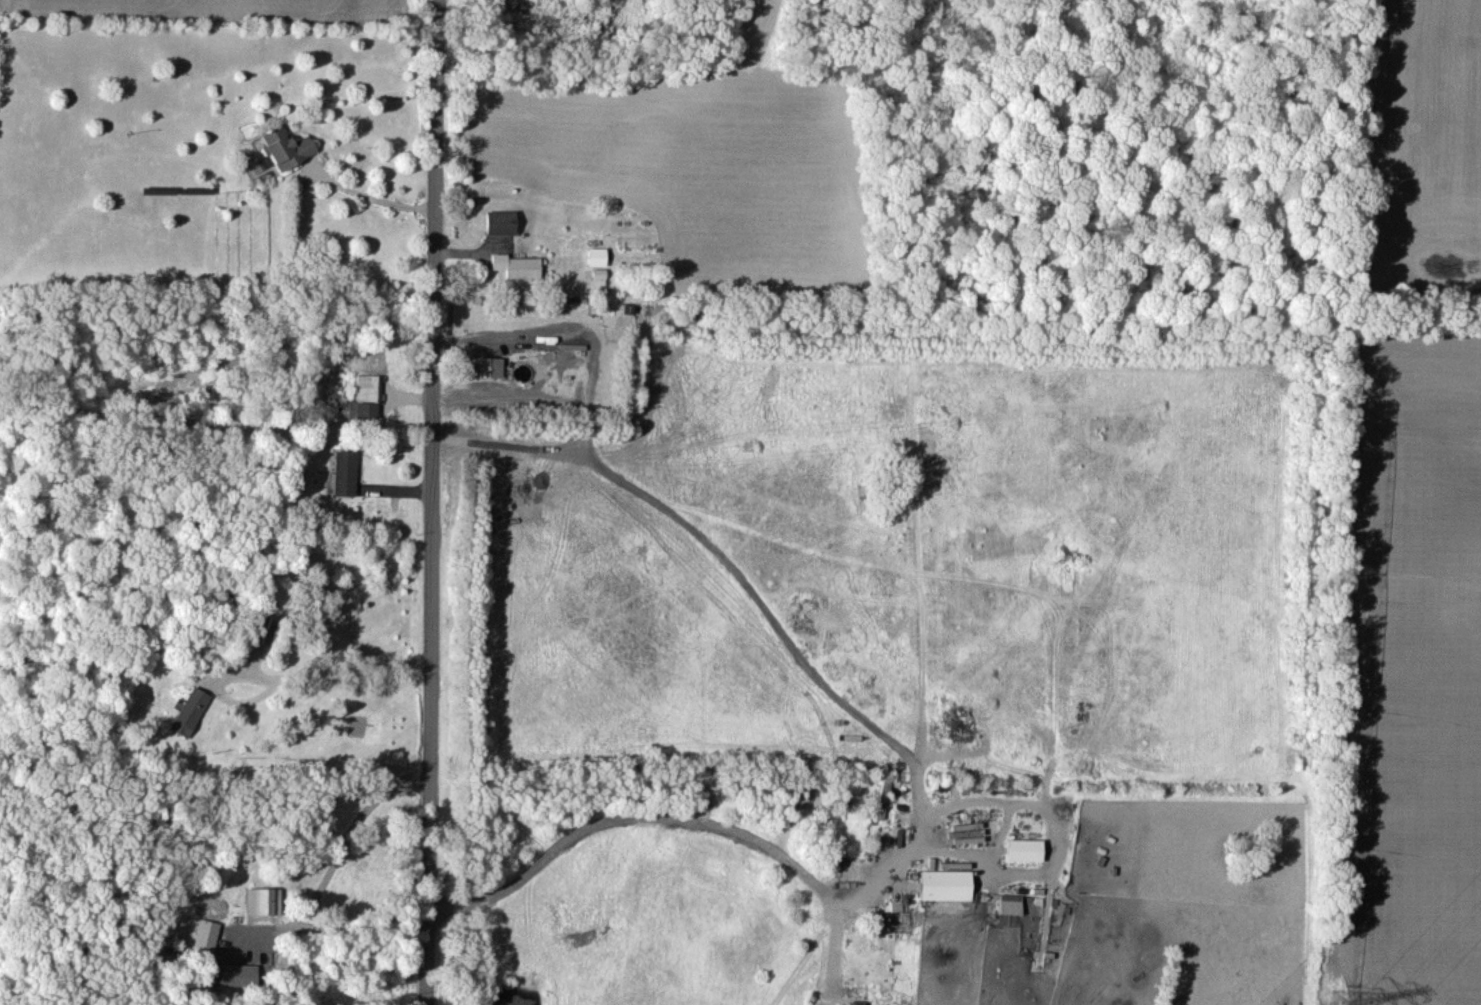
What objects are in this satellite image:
road: (437, 2)
building: (287, 147)
road: (373, 196)
building: (502, 222)
building: (523, 267)
building: (599, 277)
road: (481, 338)
building: (572, 343)
building: (364, 398)
building: (345, 472)
road: (433, 502)
road: (324, 675)
building: (189, 711)
building: (884, 797)
road: (623, 822)
building: (981, 835)
road: (353, 840)
building: (947, 885)
building: (263, 901)
building: (1011, 904)
building: (209, 935)
building: (238, 974)
building: (858, 1002)
building: (77, 1004)

